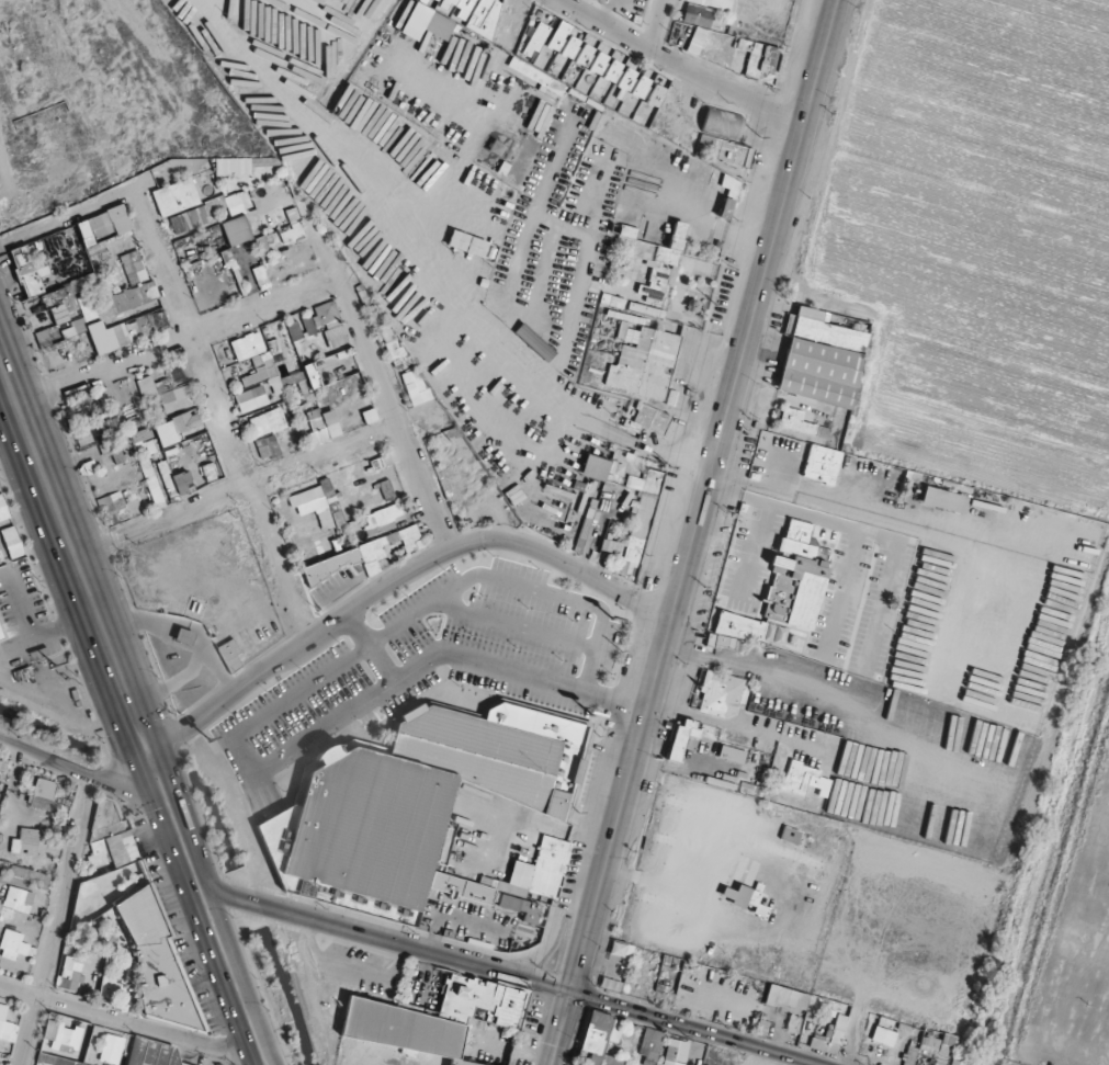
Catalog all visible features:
park: (963, 556)

